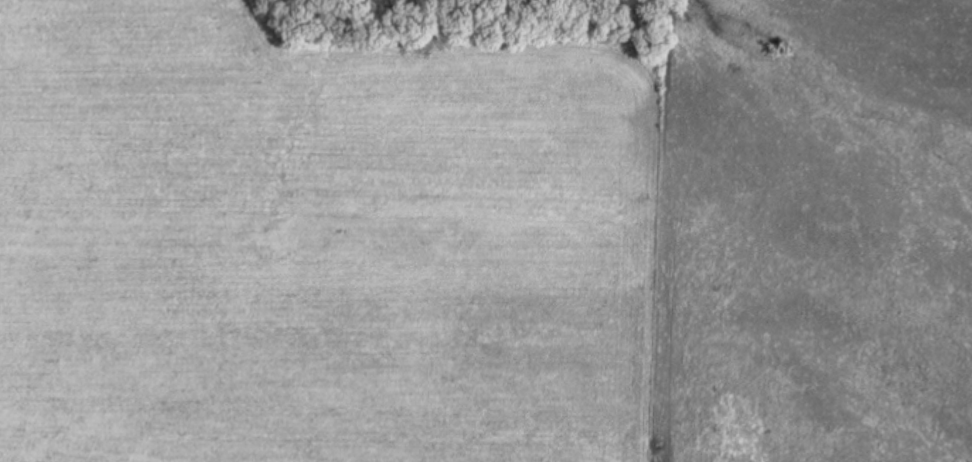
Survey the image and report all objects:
building: (638, 17)

